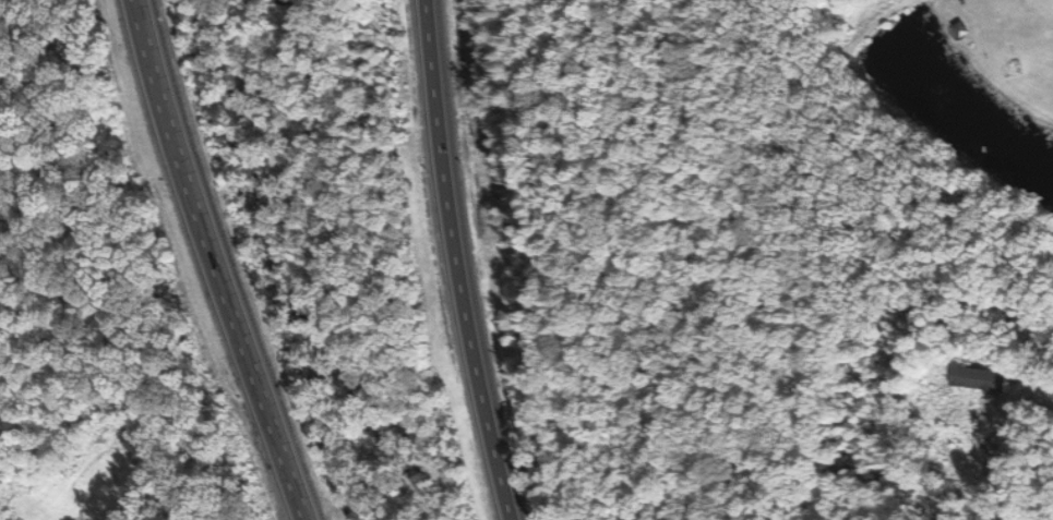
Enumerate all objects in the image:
road: (214, 261)
road: (454, 262)
river: (279, 275)

